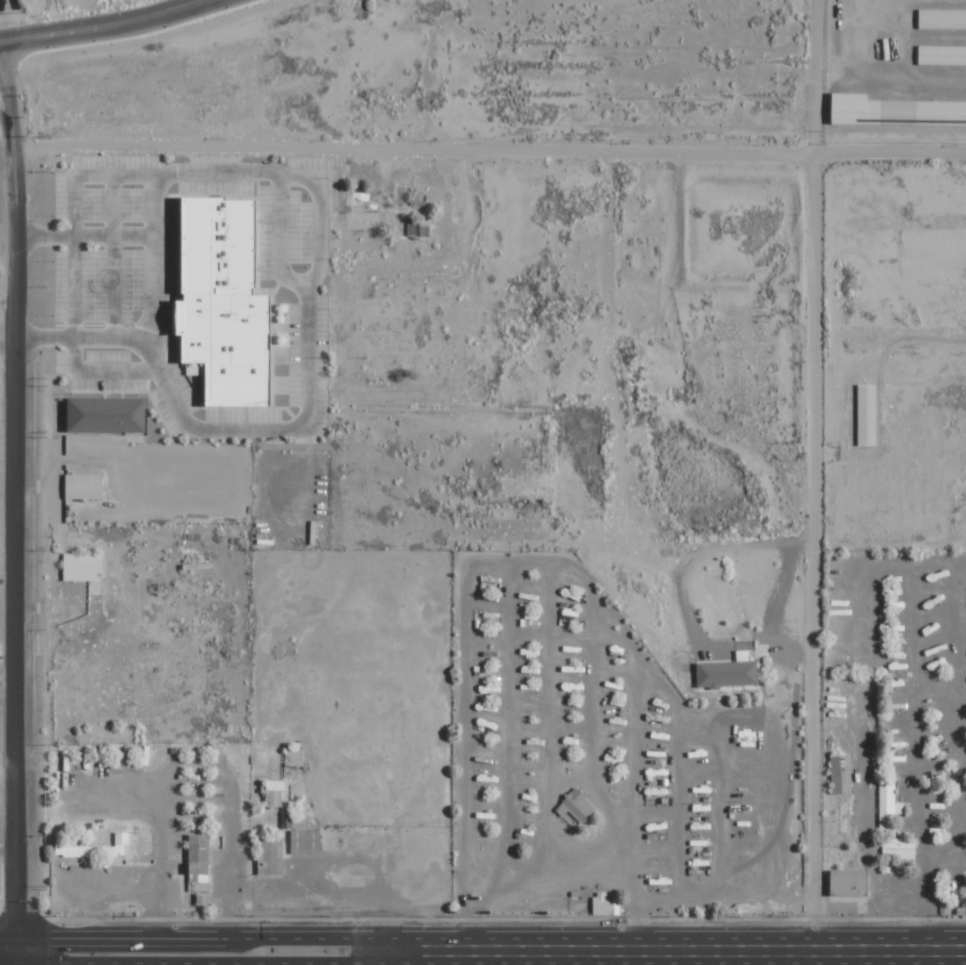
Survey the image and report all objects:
building: (942, 19)
road: (105, 25)
building: (942, 55)
road: (591, 73)
building: (896, 111)
road: (489, 143)
road: (615, 171)
building: (418, 227)
railway: (21, 298)
building: (223, 303)
road: (15, 321)
building: (108, 414)
building: (868, 414)
building: (84, 485)
road: (827, 553)
building: (82, 566)
railway: (37, 631)
building: (729, 672)
building: (842, 774)
road: (15, 776)
building: (275, 792)
building: (578, 806)
building: (893, 823)
building: (306, 842)
building: (95, 848)
building: (271, 855)
building: (199, 862)
building: (850, 883)
building: (606, 904)
road: (7, 938)
road: (209, 938)
road: (683, 954)
road: (402, 958)
road: (8, 961)
road: (15, 963)
road: (210, 963)

